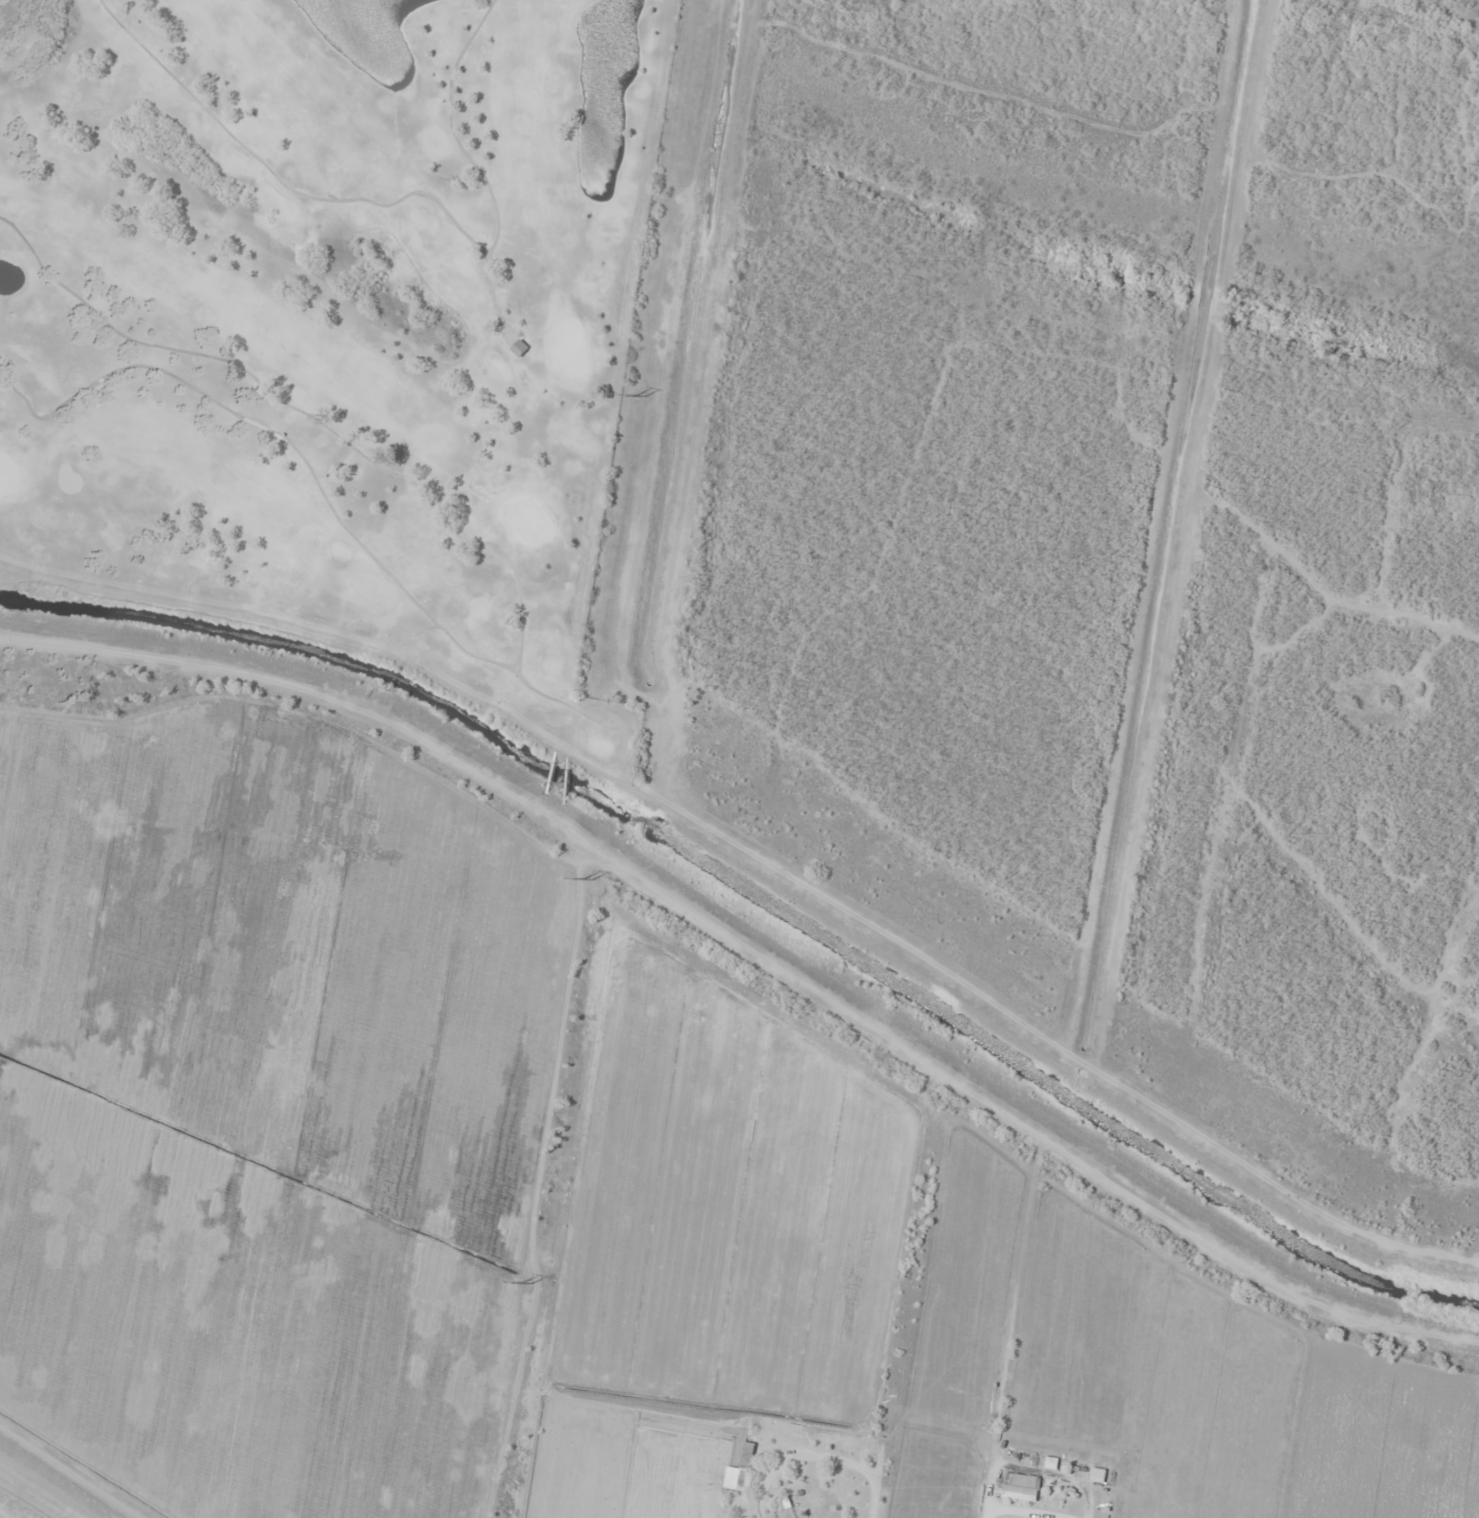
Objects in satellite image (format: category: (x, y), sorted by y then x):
park: (332, 316)
building: (519, 348)
power tower: (638, 396)
power tower: (588, 880)
power tower: (526, 1283)
building: (745, 1466)
building: (1021, 1487)

